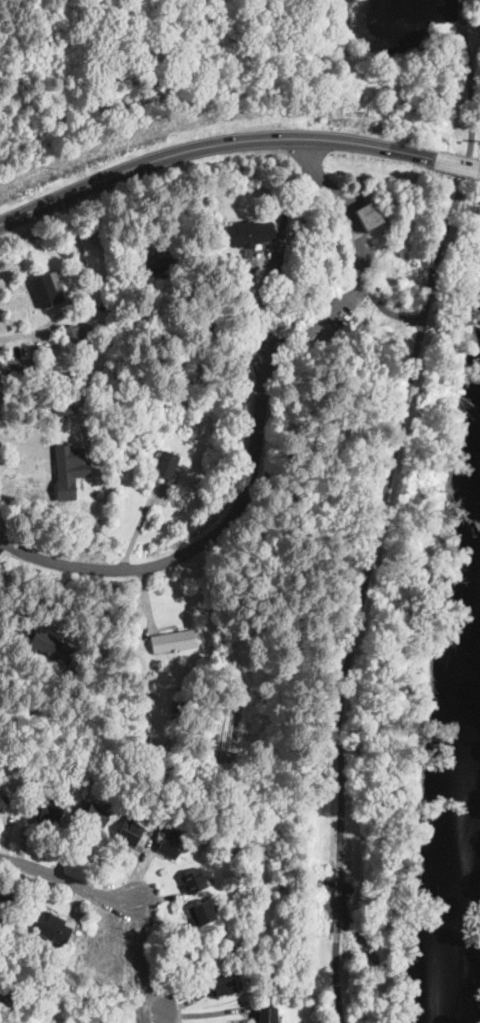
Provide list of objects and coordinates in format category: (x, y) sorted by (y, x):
road: (460, 16)
park: (408, 61)
road: (211, 145)
road: (457, 164)
building: (370, 217)
building: (251, 234)
building: (254, 263)
building: (153, 271)
road: (186, 271)
building: (256, 281)
road: (79, 289)
building: (47, 291)
building: (241, 295)
road: (379, 305)
road: (302, 312)
building: (76, 334)
parking lot: (268, 339)
park: (379, 353)
building: (65, 411)
building: (144, 447)
road: (394, 447)
building: (167, 464)
building: (68, 473)
road: (137, 527)
road: (207, 544)
building: (175, 642)
building: (51, 647)
building: (97, 692)
building: (106, 701)
building: (139, 735)
park: (343, 758)
building: (84, 769)
building: (3, 803)
building: (49, 812)
building: (97, 814)
building: (130, 832)
building: (171, 845)
river: (461, 863)
road: (69, 880)
building: (194, 881)
road: (338, 900)
building: (4, 910)
building: (202, 913)
building: (53, 929)
road: (141, 954)
road: (336, 978)
building: (222, 986)
building: (266, 1014)
road: (162, 1019)

